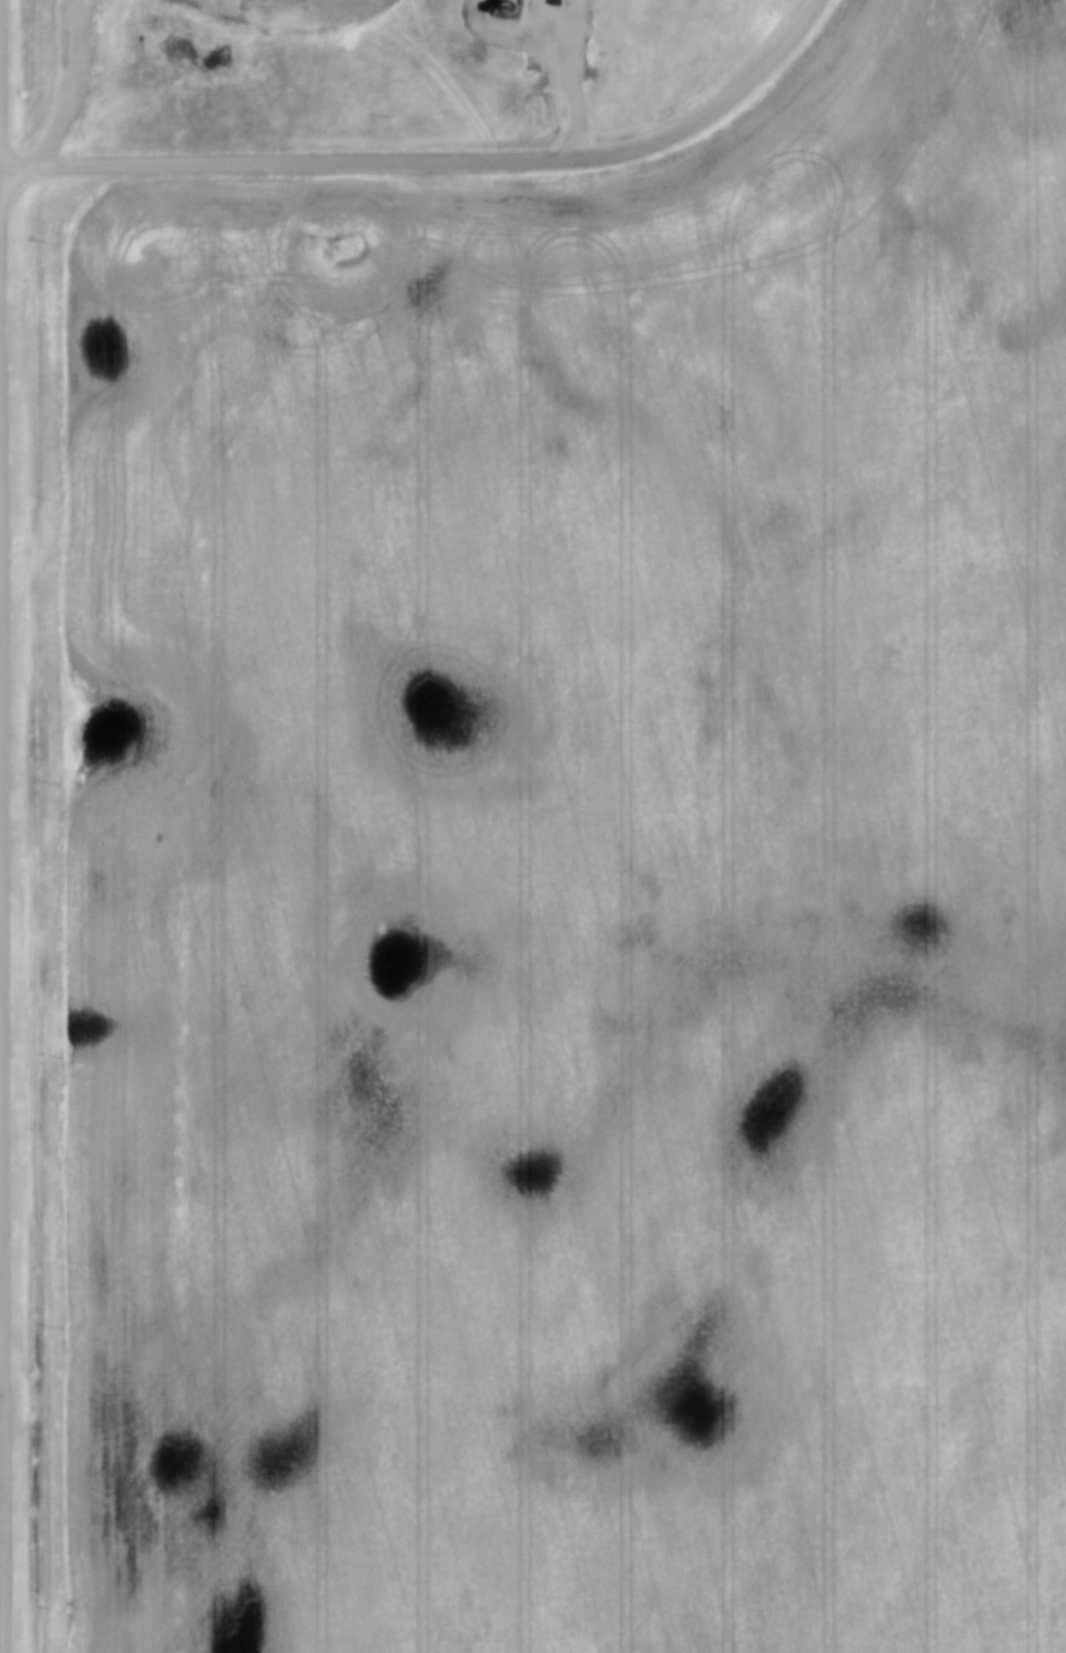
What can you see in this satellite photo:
road: (71, 81)
road: (580, 96)
road: (708, 109)
road: (281, 158)
road: (1, 549)
road: (3, 955)

